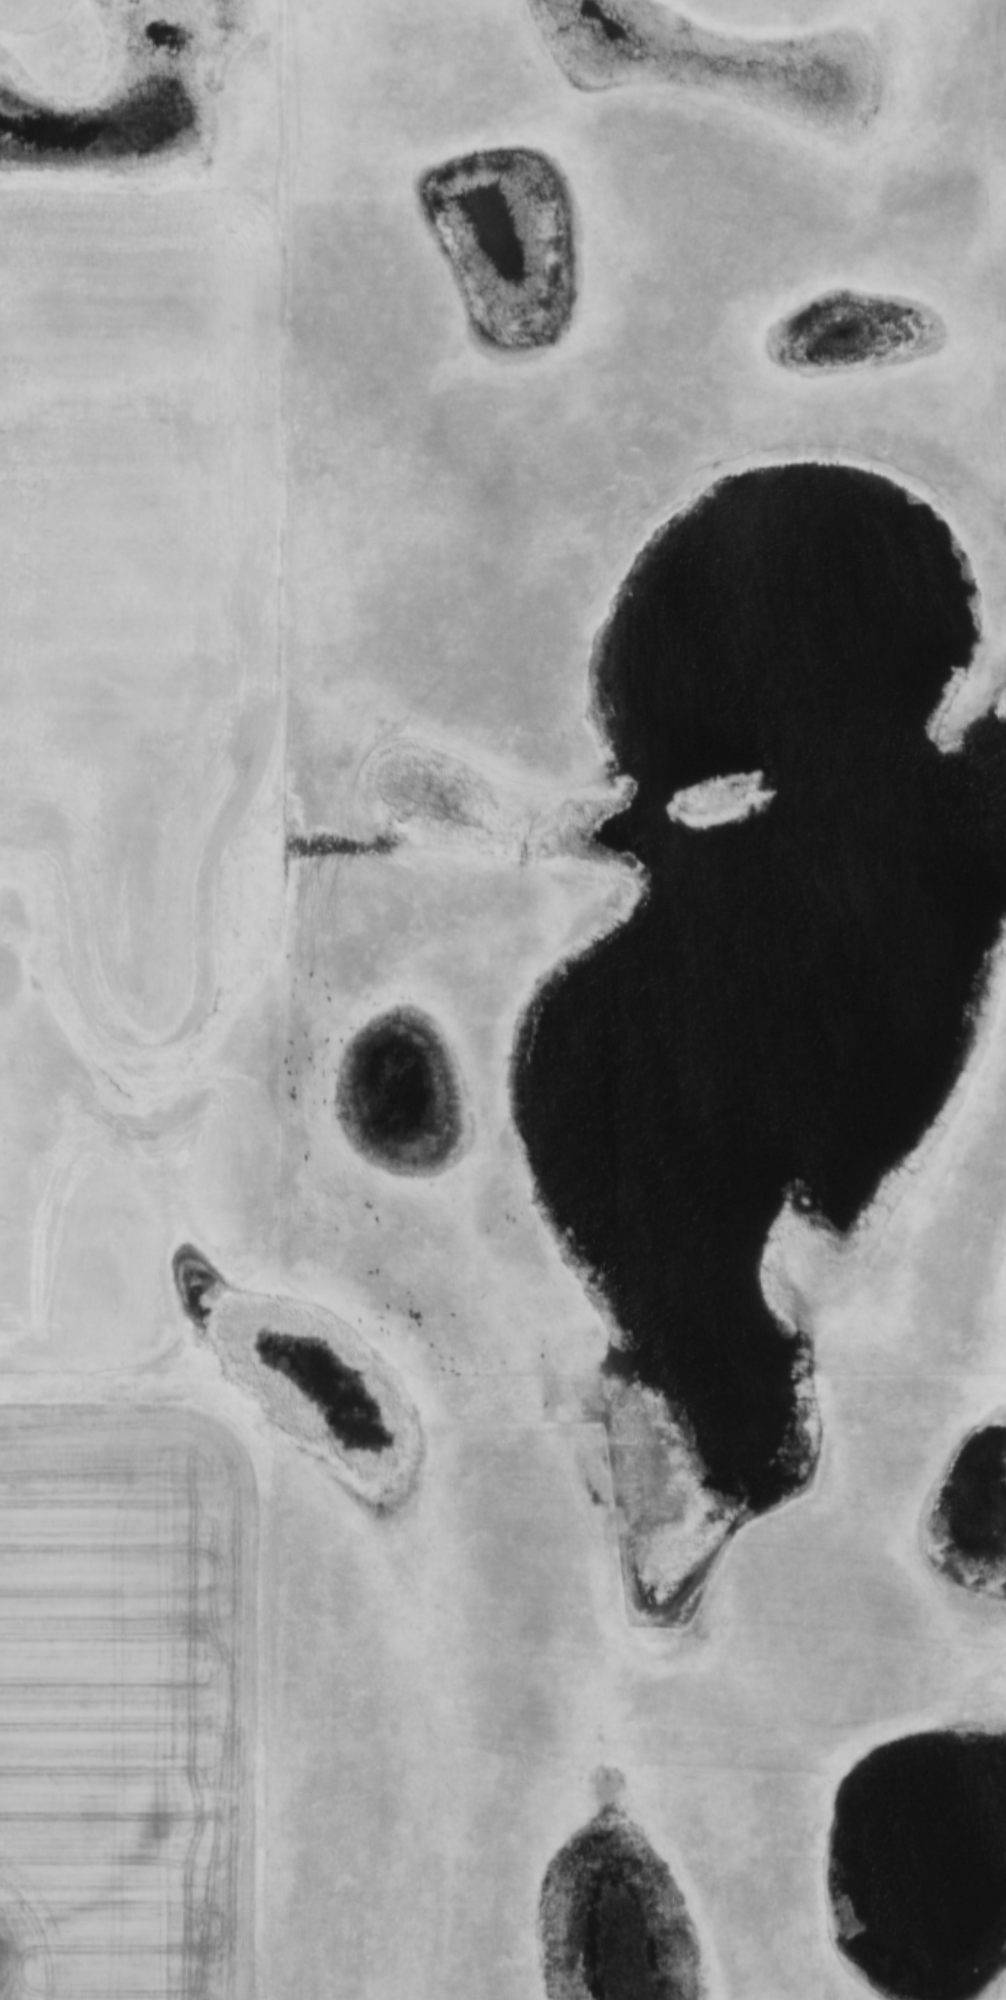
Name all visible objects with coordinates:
road: (304, 636)
road: (140, 1406)

